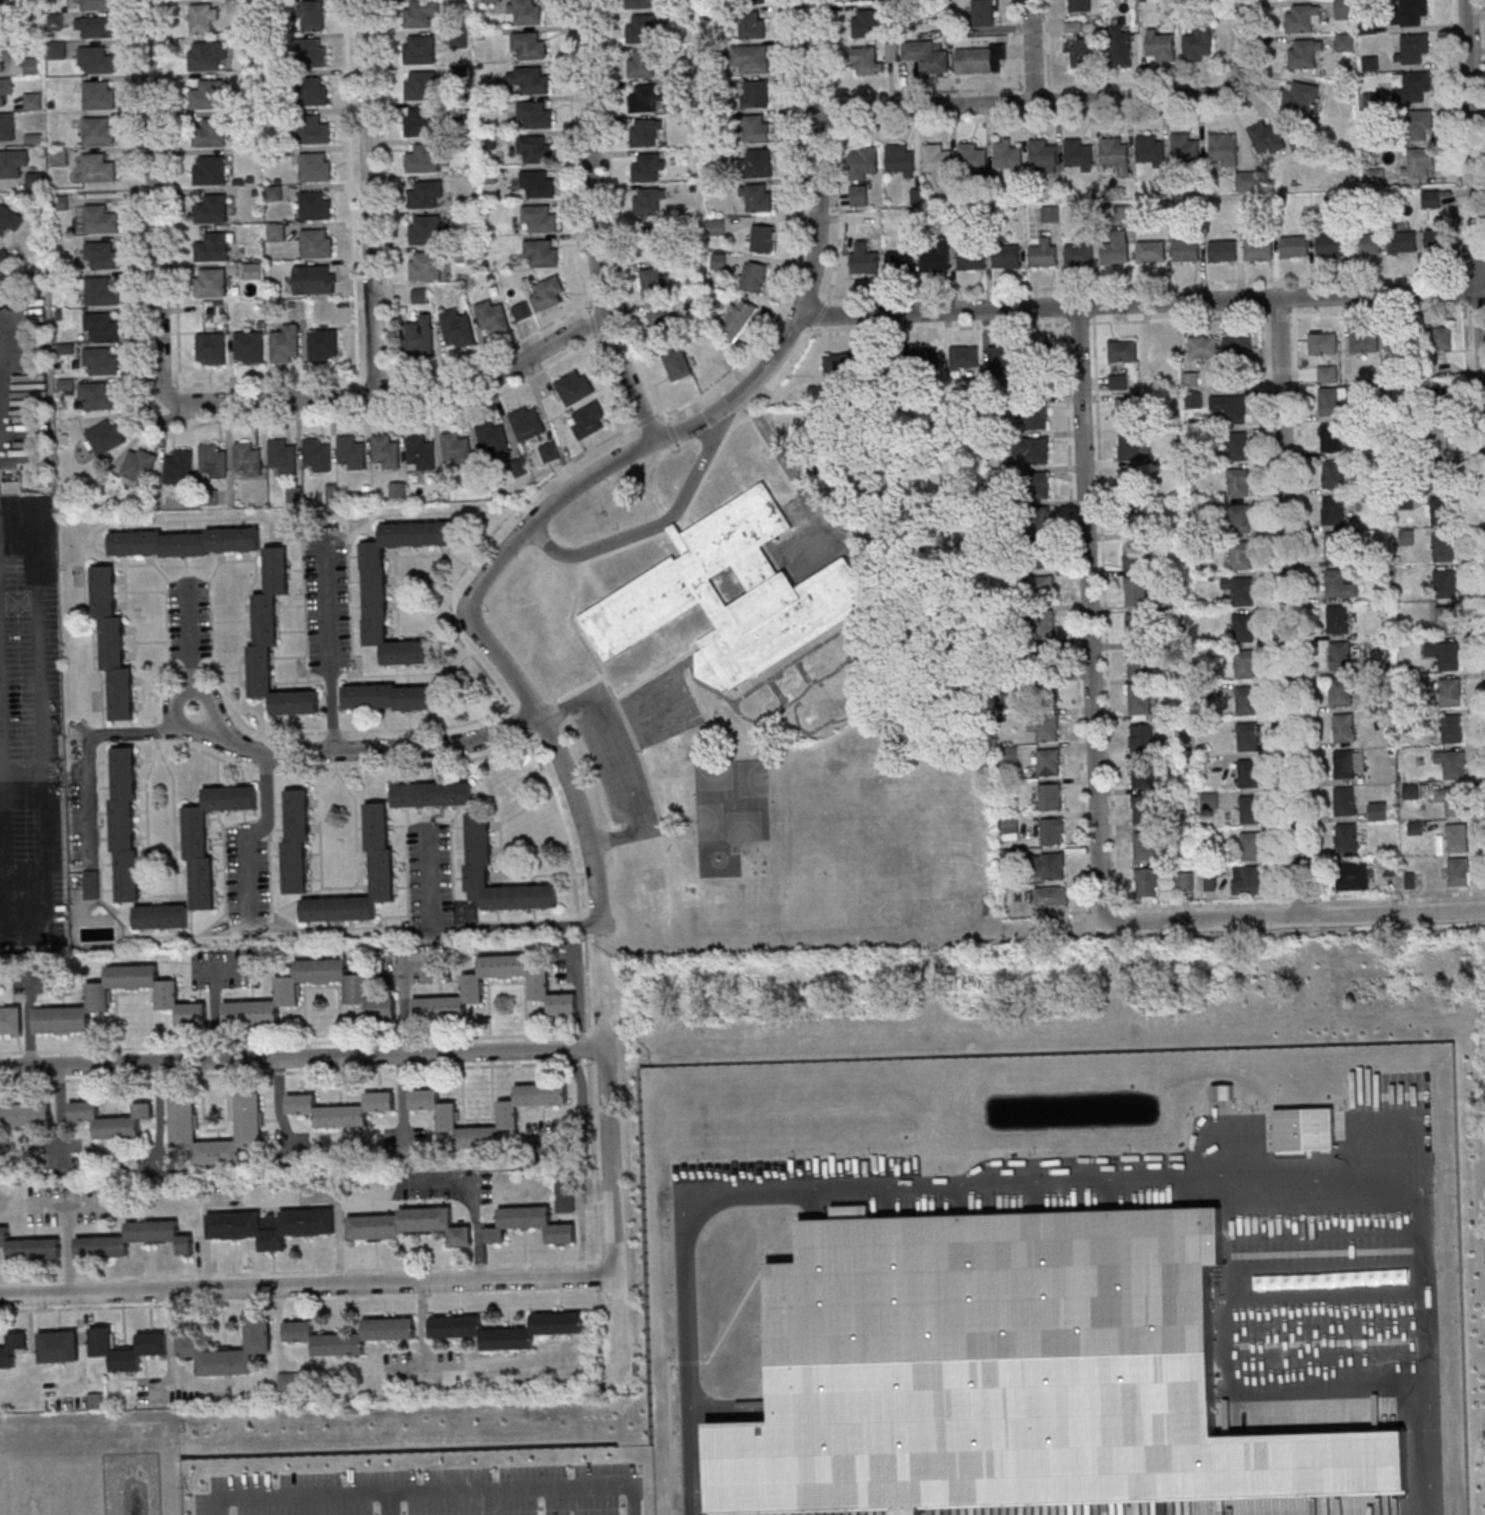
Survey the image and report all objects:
building: (489, 0)
building: (860, 0)
building: (637, 3)
building: (94, 5)
building: (1078, 6)
building: (1343, 9)
building: (1409, 11)
building: (525, 12)
building: (418, 13)
building: (982, 13)
building: (312, 16)
building: (1300, 19)
building: (202, 20)
building: (748, 22)
building: (866, 24)
building: (95, 27)
building: (640, 28)
building: (457, 37)
building: (1344, 42)
road: (1046, 43)
building: (526, 44)
road: (1017, 44)
building: (1199, 44)
building: (1121, 48)
building: (1160, 48)
building: (1413, 48)
building: (419, 49)
building: (57, 50)
road: (1032, 50)
building: (4, 52)
building: (308, 52)
building: (1090, 54)
building: (1303, 55)
building: (202, 56)
building: (926, 56)
building: (748, 57)
building: (94, 58)
building: (981, 58)
building: (866, 61)
building: (641, 63)
building: (527, 79)
road: (1175, 82)
building: (4, 86)
building: (419, 86)
building: (1412, 86)
building: (309, 90)
road: (940, 91)
building: (96, 94)
building: (205, 94)
building: (756, 95)
building: (642, 97)
building: (1301, 97)
road: (1068, 100)
building: (33, 101)
building: (532, 114)
road: (1091, 114)
building: (419, 122)
building: (1418, 124)
building: (6, 126)
building: (309, 129)
building: (756, 129)
building: (96, 131)
building: (643, 131)
building: (208, 132)
road: (1473, 137)
building: (1267, 138)
building: (488, 141)
building: (532, 148)
building: (1184, 148)
building: (1224, 149)
building: (1148, 150)
road: (836, 152)
building: (1041, 153)
building: (1076, 153)
building: (1113, 153)
road: (573, 155)
building: (1006, 155)
building: (421, 157)
building: (971, 158)
building: (898, 159)
building: (936, 160)
building: (12, 161)
building: (863, 162)
building: (758, 164)
building: (1419, 165)
building: (312, 166)
building: (646, 167)
building: (95, 168)
building: (207, 170)
building: (1375, 178)
building: (1247, 180)
building: (535, 183)
road: (350, 192)
road: (387, 192)
building: (422, 193)
building: (274, 194)
building: (859, 195)
road: (152, 198)
building: (758, 198)
road: (366, 199)
building: (1431, 199)
road: (172, 201)
building: (646, 201)
building: (312, 204)
building: (209, 208)
building: (1051, 213)
building: (537, 217)
building: (98, 218)
building: (8, 219)
road: (593, 224)
road: (795, 229)
building: (423, 230)
building: (276, 233)
building: (762, 238)
building: (1436, 239)
building: (650, 241)
building: (1400, 241)
building: (313, 242)
building: (1364, 243)
building: (1327, 244)
building: (1292, 246)
building: (210, 247)
building: (1256, 248)
building: (1184, 249)
building: (1112, 251)
building: (1149, 251)
building: (1221, 251)
building: (539, 252)
building: (1077, 254)
building: (100, 255)
road: (813, 255)
building: (1007, 256)
building: (938, 258)
building: (971, 258)
building: (864, 259)
building: (900, 262)
building: (423, 265)
road: (1474, 265)
road: (618, 274)
road: (1482, 275)
building: (754, 276)
building: (314, 279)
building: (208, 282)
building: (653, 282)
road: (1480, 282)
road: (1146, 283)
road: (1092, 290)
building: (99, 291)
building: (545, 291)
building: (419, 295)
road: (1138, 302)
road: (1093, 305)
road: (821, 314)
building: (492, 318)
building: (661, 320)
building: (737, 320)
road: (1150, 320)
road: (589, 323)
building: (99, 325)
building: (457, 329)
road: (0, 335)
building: (420, 336)
building: (1441, 337)
road: (1482, 337)
building: (1401, 340)
building: (1323, 341)
building: (1364, 341)
building: (283, 342)
building: (320, 343)
building: (247, 345)
building: (1237, 345)
building: (1203, 346)
building: (209, 347)
building: (1125, 351)
building: (1035, 353)
building: (1000, 355)
building: (962, 356)
road: (490, 357)
building: (920, 358)
building: (98, 360)
building: (877, 361)
road: (1467, 362)
building: (678, 364)
building: (839, 364)
road: (375, 377)
building: (1191, 379)
road: (268, 381)
road: (610, 381)
road: (780, 382)
road: (166, 385)
building: (574, 386)
building: (817, 392)
building: (94, 395)
road: (392, 397)
building: (1195, 400)
building: (1333, 402)
building: (1230, 407)
building: (1124, 411)
road: (661, 412)
building: (1034, 417)
road: (647, 418)
building: (587, 419)
building: (527, 424)
road: (159, 435)
building: (105, 436)
building: (489, 437)
building: (1332, 437)
building: (1439, 438)
building: (1237, 446)
building: (454, 447)
building: (1132, 448)
building: (382, 450)
building: (1036, 450)
building: (348, 451)
building: (418, 451)
building: (549, 451)
building: (314, 453)
building: (279, 454)
building: (245, 458)
building: (210, 460)
building: (139, 465)
building: (176, 465)
road: (788, 468)
building: (1333, 473)
road: (704, 477)
building: (1134, 482)
building: (1239, 483)
building: (1038, 484)
building: (1332, 509)
building: (1442, 509)
building: (1240, 518)
building: (1040, 521)
building: (1135, 522)
road: (671, 526)
road: (649, 527)
building: (185, 542)
road: (482, 544)
building: (1335, 546)
building: (1443, 547)
building: (1241, 554)
building: (1135, 556)
building: (1042, 558)
building: (670, 582)
building: (1445, 583)
building: (1339, 584)
building: (1042, 588)
building: (1240, 589)
building: (1136, 592)
building: (375, 593)
road: (1074, 606)
road: (1290, 606)
road: (1092, 611)
road: (1104, 611)
building: (1338, 619)
building: (1450, 619)
building: (1043, 623)
building: (1244, 627)
building: (1137, 628)
building: (274, 642)
building: (112, 643)
building: (849, 645)
road: (328, 647)
road: (491, 648)
road: (191, 649)
building: (1340, 656)
building: (1450, 656)
building: (1244, 663)
building: (818, 664)
building: (1138, 664)
road: (600, 671)
building: (790, 681)
road: (228, 690)
building: (1040, 690)
building: (1452, 690)
building: (1340, 693)
building: (392, 697)
building: (762, 699)
building: (1247, 699)
building: (1140, 703)
building: (829, 708)
road: (40, 724)
road: (522, 724)
building: (1045, 727)
road: (427, 728)
building: (1344, 728)
building: (1452, 728)
road: (156, 731)
road: (334, 731)
building: (1248, 736)
building: (1142, 738)
road: (158, 742)
road: (88, 746)
road: (360, 748)
building: (1010, 755)
road: (272, 759)
road: (335, 759)
building: (1048, 762)
building: (1350, 763)
building: (1452, 763)
road: (617, 765)
road: (343, 767)
building: (1248, 772)
building: (1141, 774)
building: (432, 794)
building: (1050, 796)
park: (732, 799)
building: (1209, 799)
building: (1451, 799)
road: (0, 800)
building: (1345, 801)
building: (1251, 809)
building: (1143, 810)
building: (1377, 810)
park: (799, 817)
road: (174, 819)
road: (411, 822)
building: (125, 824)
road: (562, 824)
road: (319, 825)
road: (355, 825)
road: (256, 830)
building: (1052, 831)
building: (210, 837)
building: (1347, 837)
building: (1457, 837)
road: (1, 840)
building: (296, 841)
building: (1251, 845)
building: (1145, 846)
building: (380, 849)
building: (479, 849)
building: (1051, 866)
building: (1459, 871)
building: (1353, 875)
building: (1248, 879)
building: (1186, 880)
building: (1146, 882)
road: (1, 884)
building: (91, 885)
road: (317, 889)
road: (169, 895)
building: (1050, 898)
road: (1298, 899)
road: (1099, 907)
road: (119, 910)
road: (274, 912)
road: (221, 915)
building: (161, 916)
road: (1296, 916)
road: (585, 918)
road: (532, 919)
road: (585, 925)
road: (459, 930)
building: (539, 985)
building: (357, 989)
road: (588, 989)
building: (168, 995)
road: (214, 998)
building: (11, 1020)
road: (297, 1042)
road: (303, 1057)
road: (395, 1068)
building: (341, 1109)
building: (25, 1116)
building: (183, 1117)
building: (509, 1118)
building: (111, 1121)
road: (1062, 1185)
building: (564, 1192)
road: (83, 1201)
road: (49, 1203)
road: (611, 1215)
building: (531, 1224)
building: (271, 1225)
building: (410, 1225)
building: (135, 1239)
building: (30, 1246)
road: (67, 1248)
road: (298, 1270)
road: (598, 1276)
road: (307, 1285)
road: (599, 1298)
road: (299, 1300)
building: (507, 1329)
building: (350, 1335)
building: (59, 1346)
building: (12, 1349)
building: (128, 1351)
building: (229, 1351)
building: (1008, 1371)
road: (1344, 1379)
building: (287, 1381)
building: (74, 1401)
parking lot: (428, 1491)
road: (424, 1494)
road: (630, 1501)
road: (390, 1505)
road: (218, 1507)

